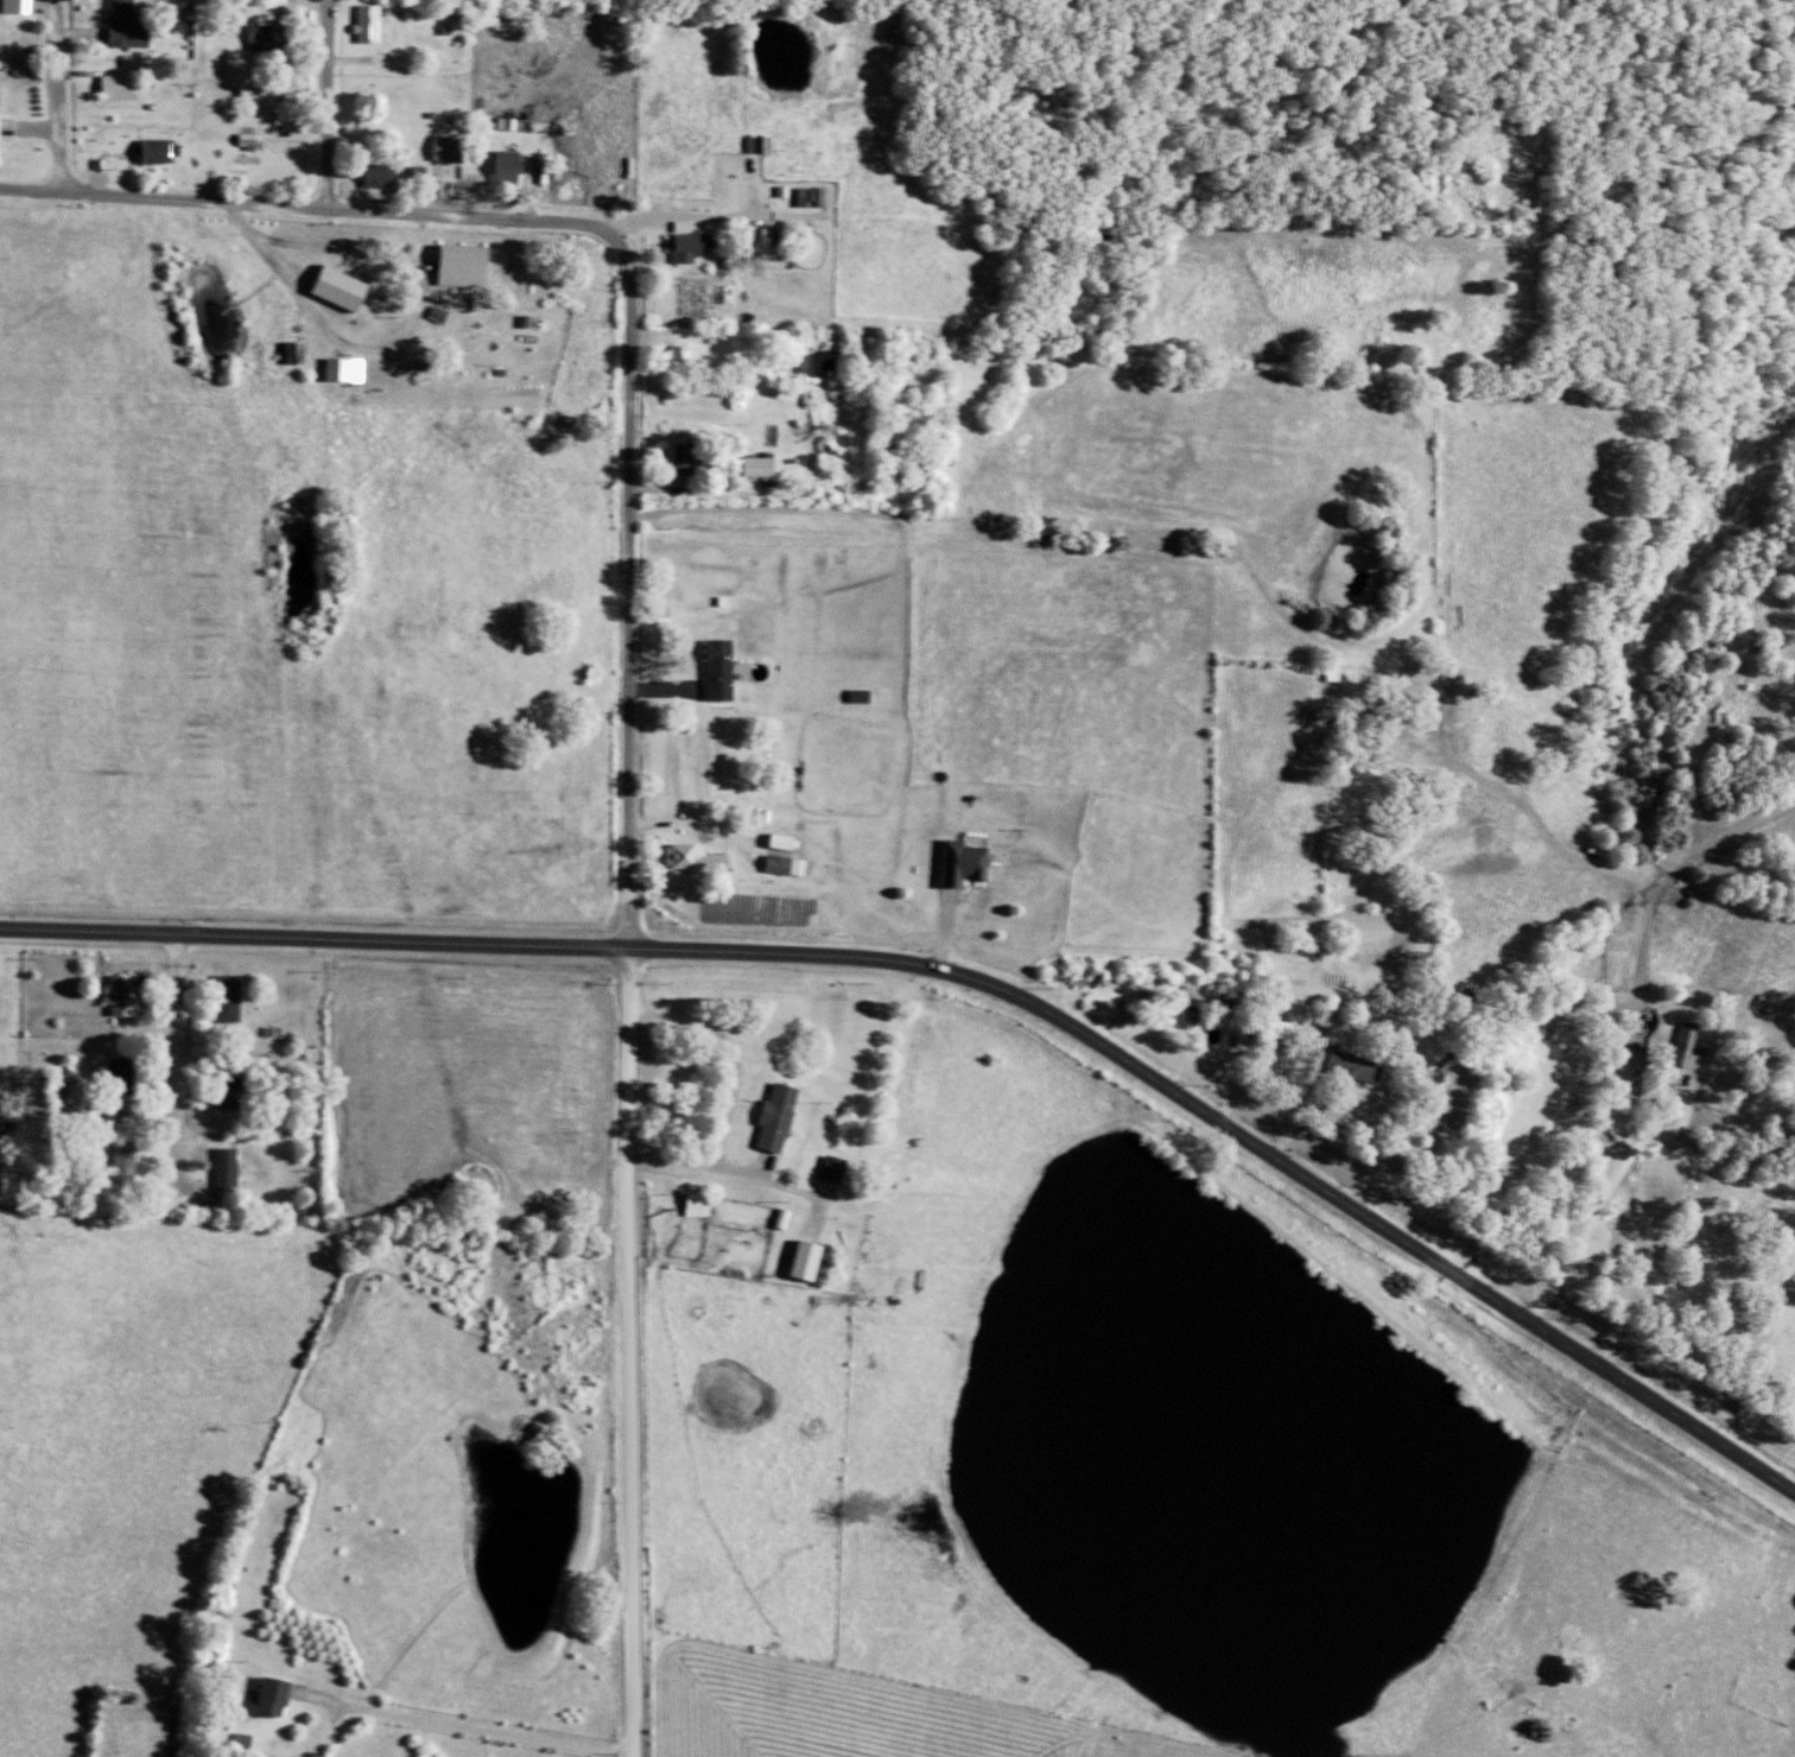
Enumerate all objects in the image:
building: (24, 6)
building: (376, 23)
building: (133, 25)
building: (275, 37)
building: (126, 87)
building: (279, 88)
road: (62, 97)
road: (328, 106)
building: (4, 138)
building: (457, 148)
building: (164, 150)
building: (515, 161)
building: (385, 175)
building: (811, 196)
building: (831, 196)
road: (307, 209)
building: (694, 242)
building: (776, 242)
building: (471, 264)
building: (349, 287)
building: (445, 313)
building: (691, 355)
building: (823, 362)
building: (353, 368)
road: (710, 425)
building: (690, 458)
building: (767, 465)
road: (633, 590)
building: (727, 668)
building: (868, 694)
building: (789, 842)
building: (703, 858)
building: (970, 863)
building: (792, 864)
road: (969, 982)
building: (128, 995)
building: (234, 997)
building: (1192, 1002)
road: (1642, 1034)
building: (1691, 1045)
road: (179, 1064)
building: (1360, 1064)
road: (1287, 1071)
building: (131, 1076)
building: (233, 1084)
road: (728, 1109)
building: (784, 1117)
road: (1691, 1117)
building: (132, 1162)
building: (234, 1168)
building: (841, 1168)
building: (6, 1181)
building: (705, 1205)
building: (791, 1218)
building: (814, 1260)
road: (1617, 1298)
road: (628, 1355)
building: (280, 1694)
road: (461, 1731)

